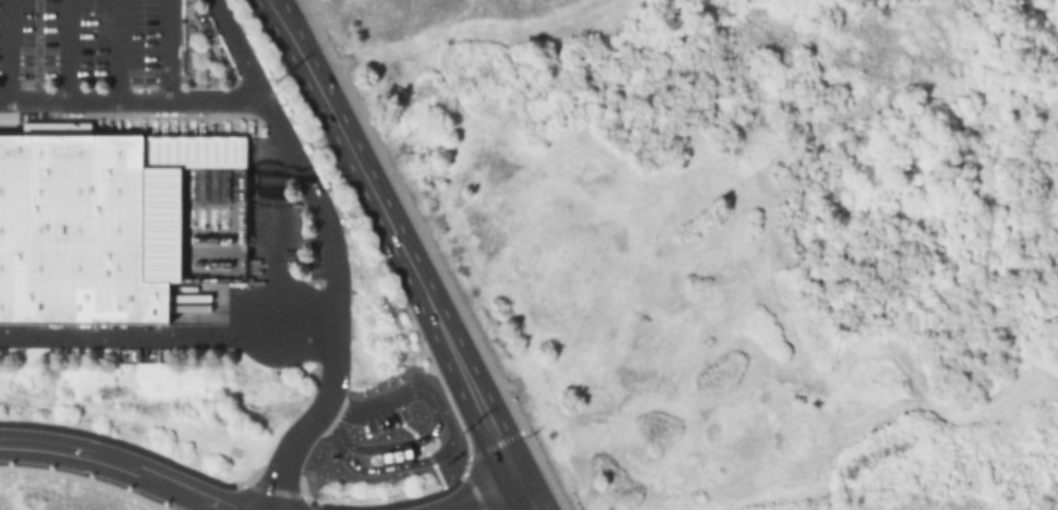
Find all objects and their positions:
road: (390, 46)
road: (9, 50)
road: (68, 51)
road: (115, 51)
road: (168, 51)
road: (240, 52)
power tower: (280, 78)
road: (307, 180)
road: (740, 181)
building: (113, 222)
park: (727, 238)
road: (408, 254)
road: (434, 254)
road: (169, 336)
power tower: (462, 434)
road: (118, 464)
traffic signals: (533, 491)
road: (507, 500)

